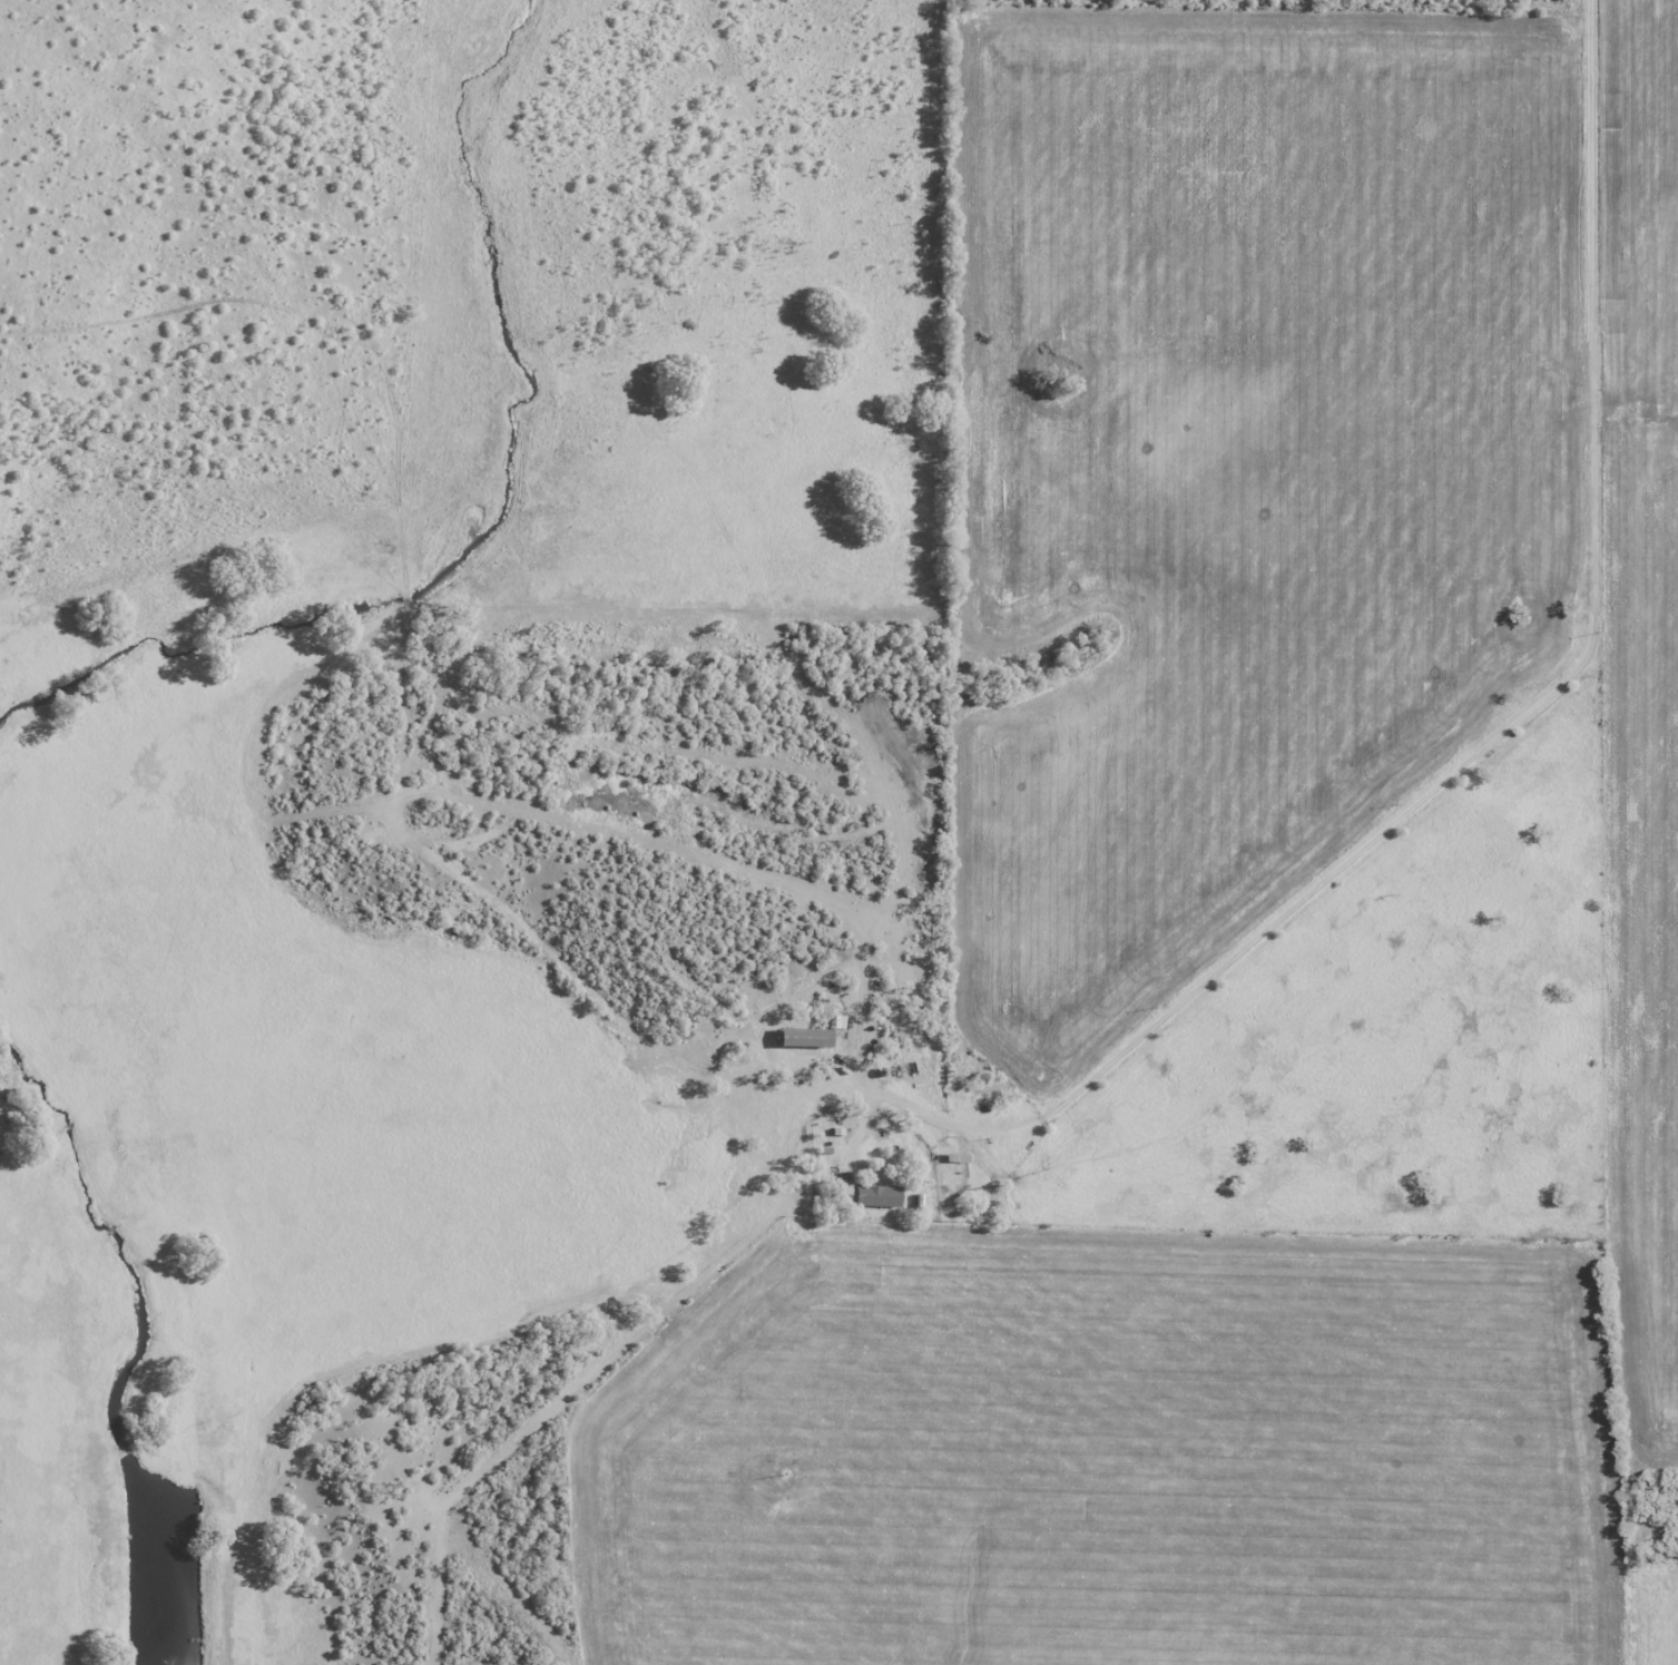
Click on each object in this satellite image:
road: (1485, 752)
building: (808, 1038)
building: (880, 1197)

